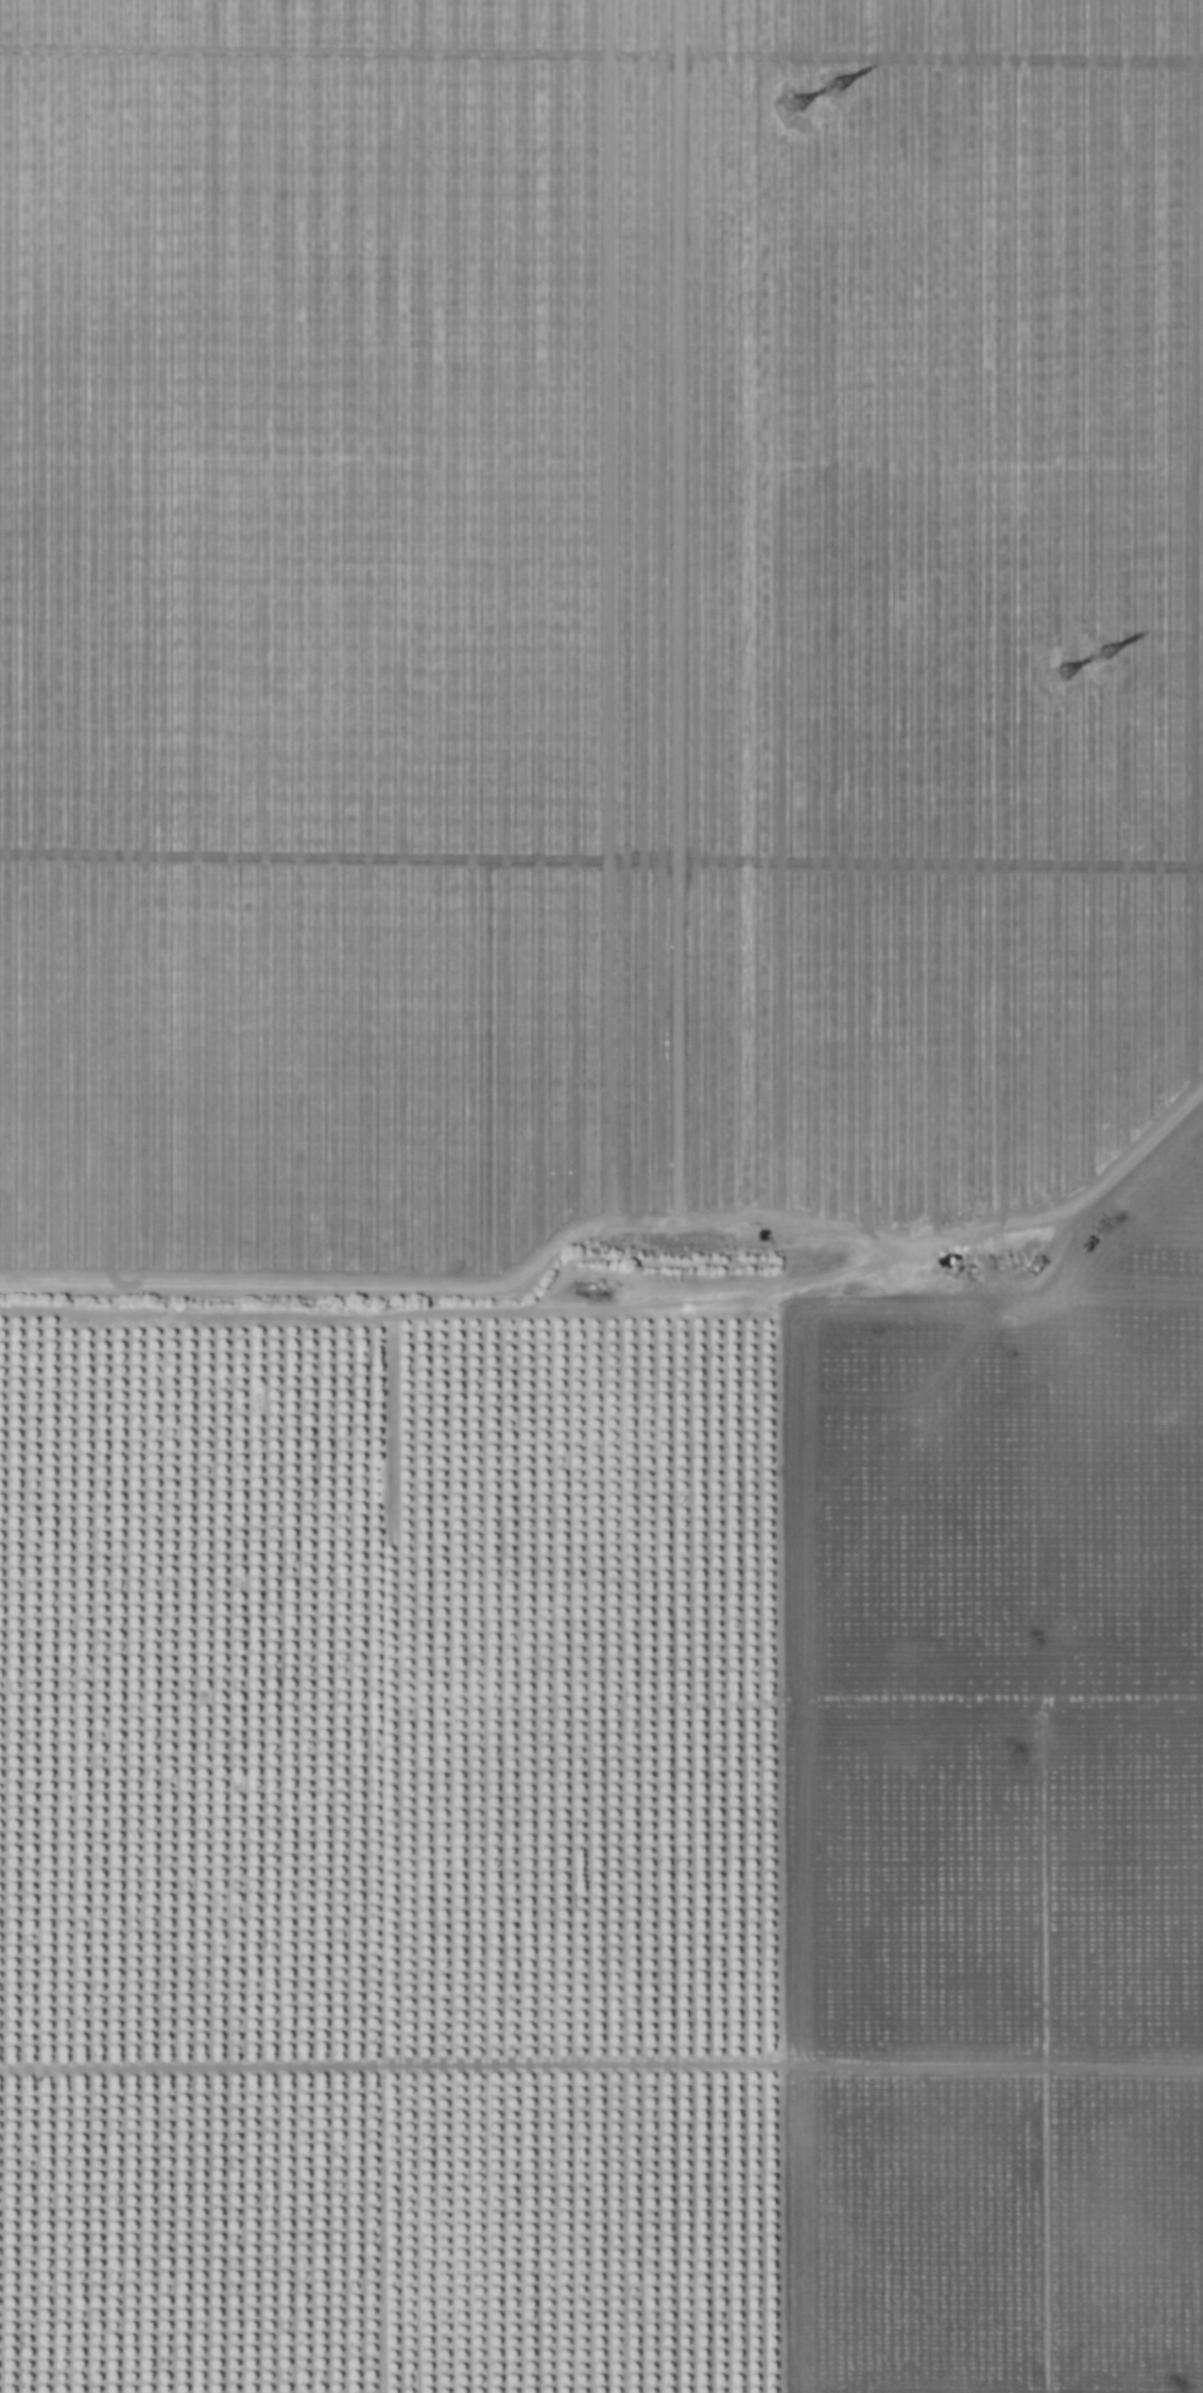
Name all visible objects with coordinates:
power tower: (826, 89)
power tower: (783, 105)
power tower: (1093, 656)
power tower: (1050, 676)
road: (1123, 1162)
road: (985, 2070)

